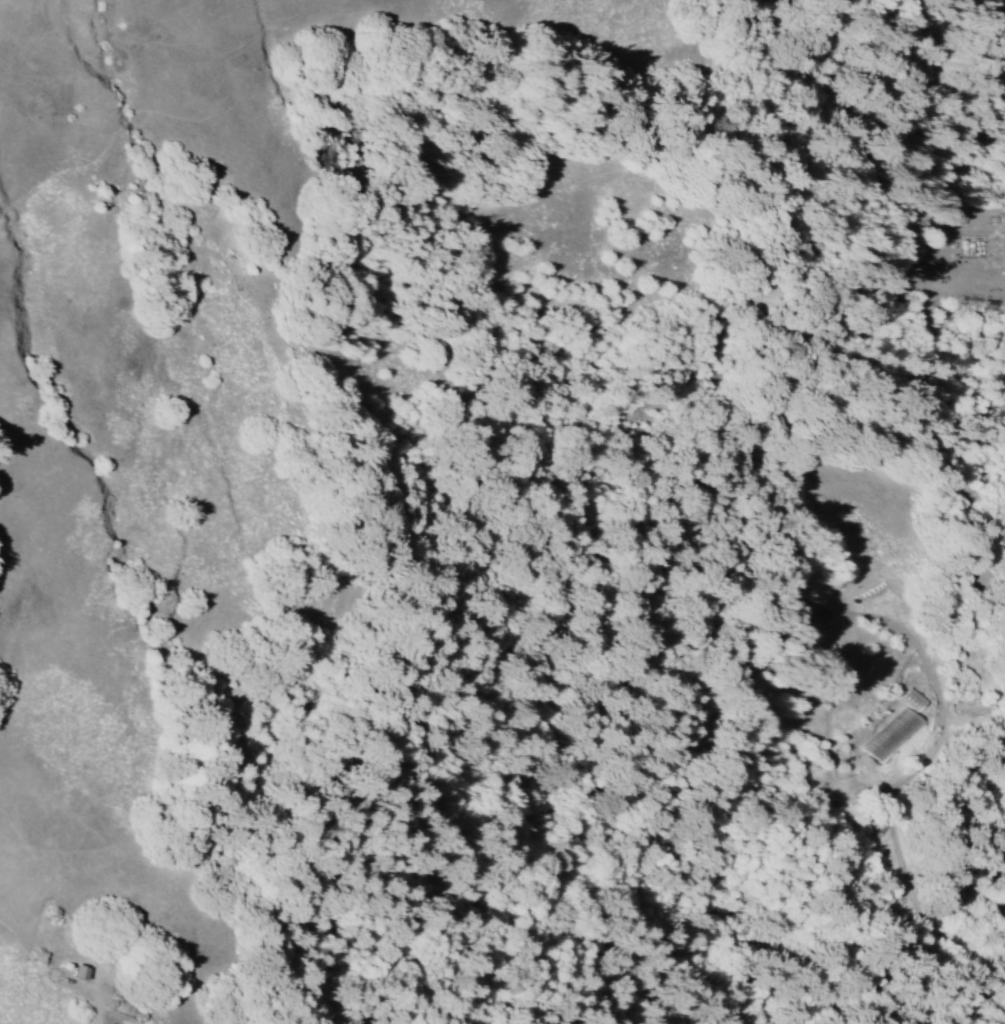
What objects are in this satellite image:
road: (924, 909)
road: (749, 935)
building: (79, 971)

